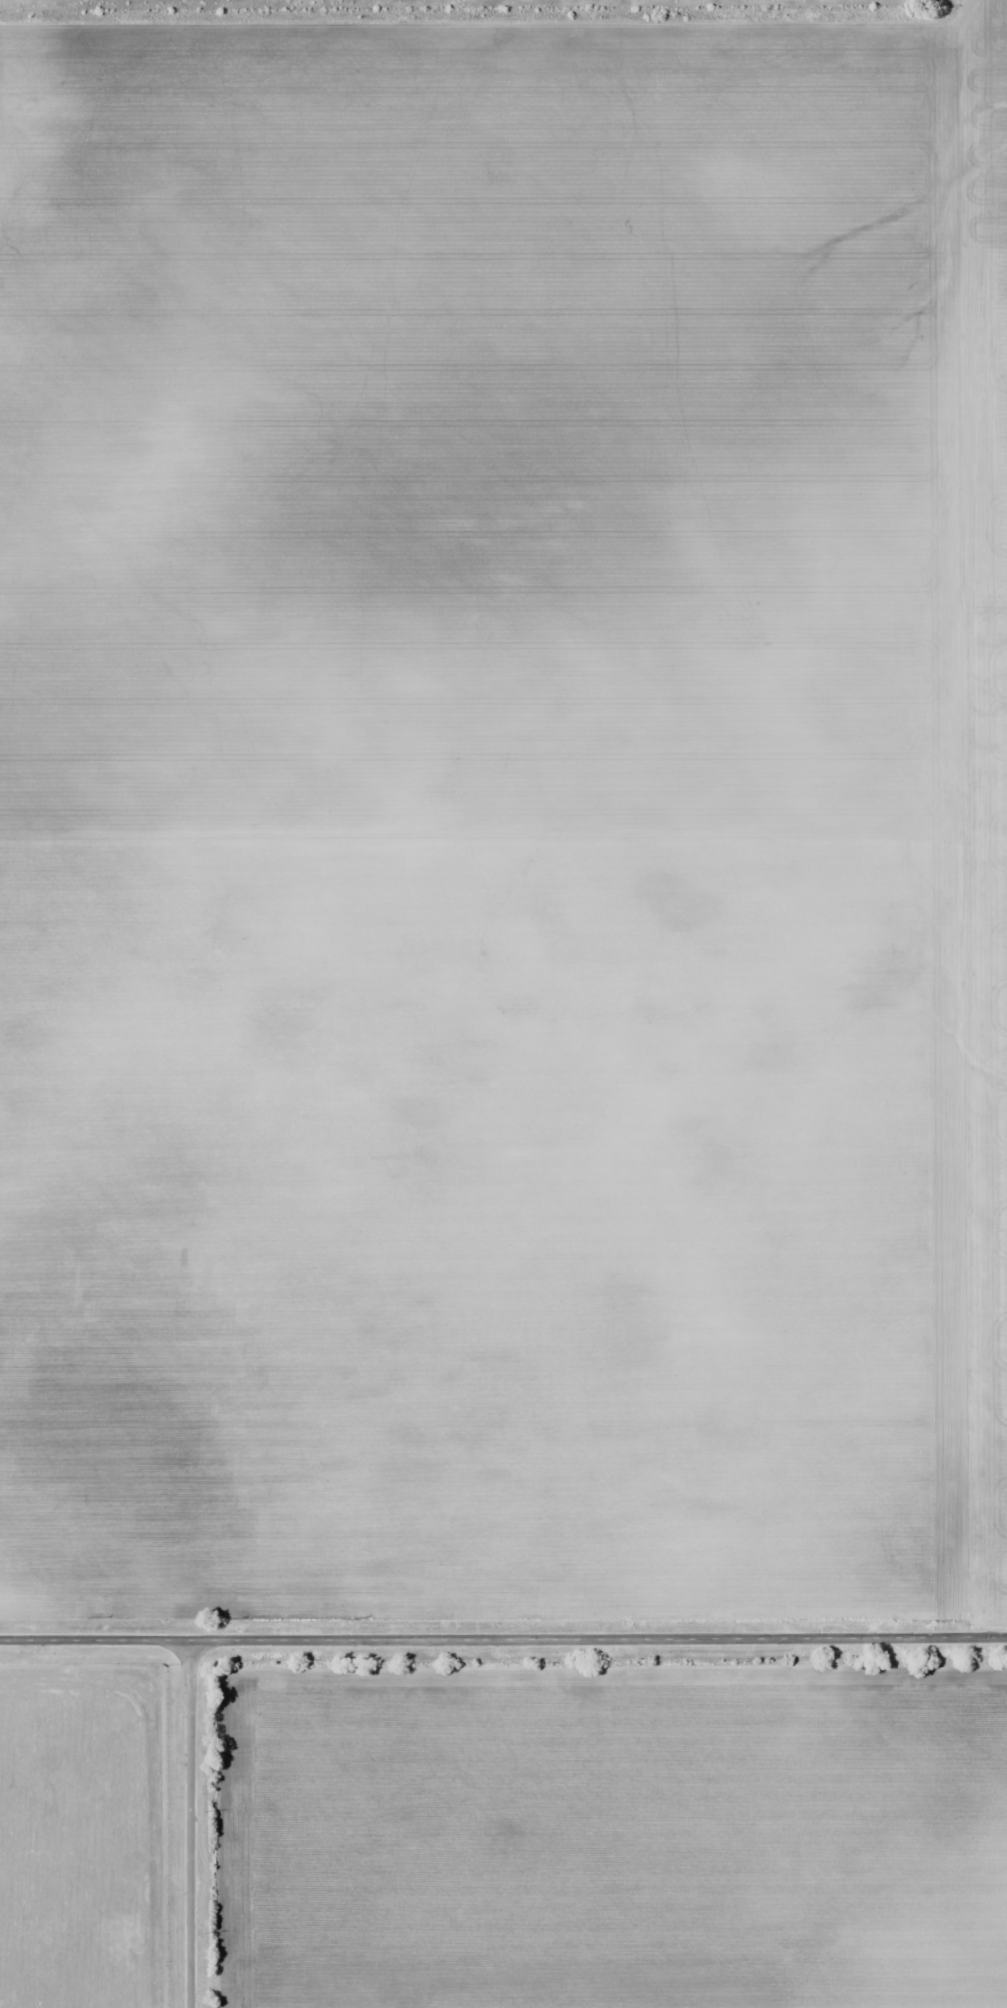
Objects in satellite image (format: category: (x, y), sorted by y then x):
road: (503, 1637)
road: (190, 1823)

